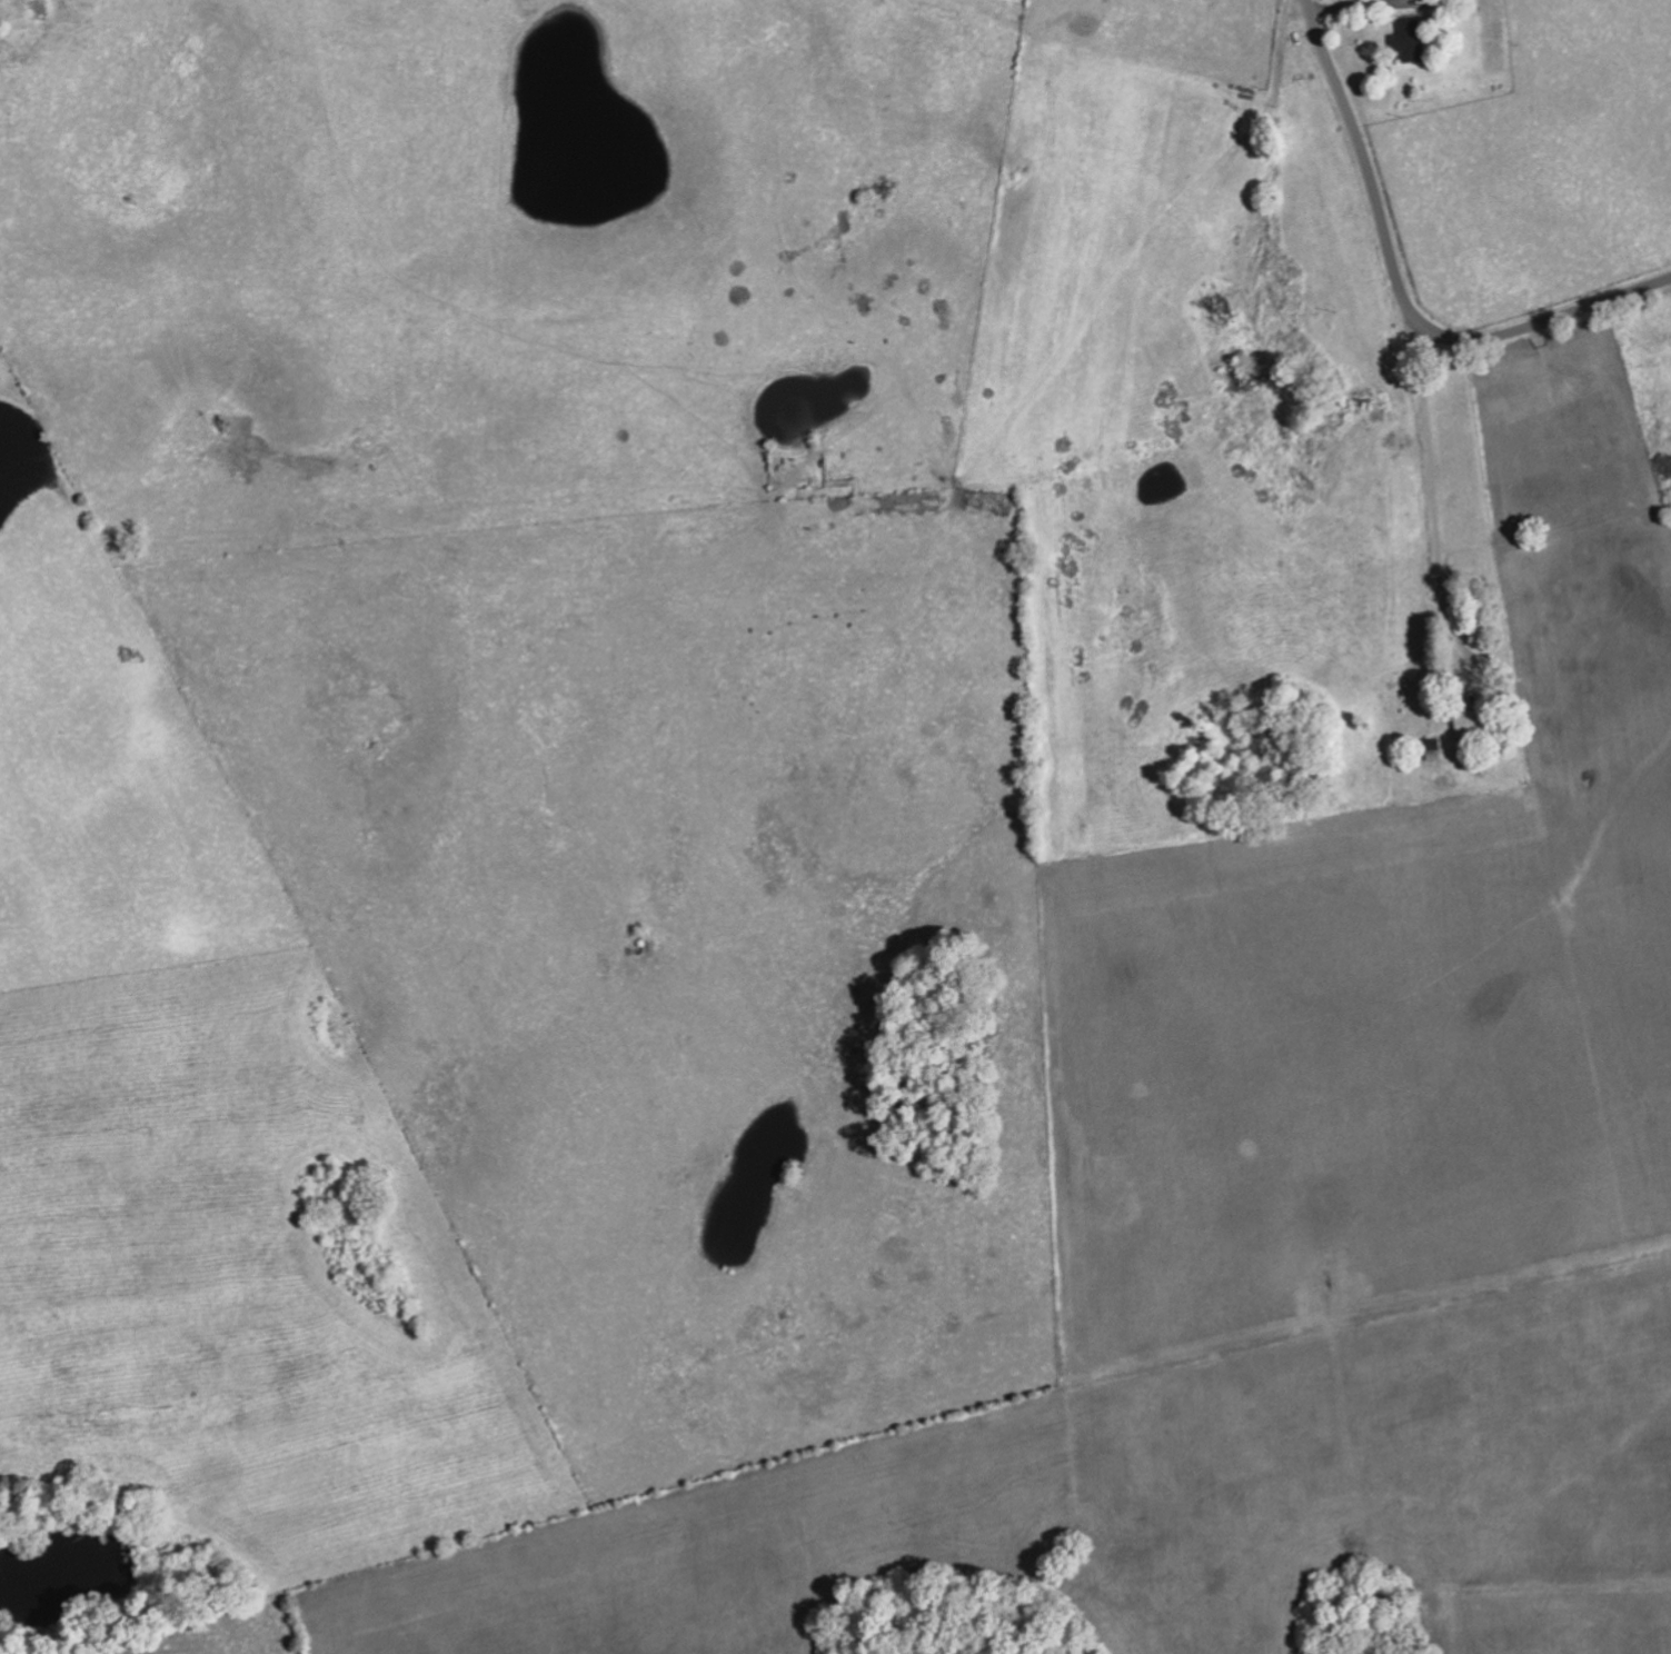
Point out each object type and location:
building: (1409, 39)
road: (1400, 287)
road: (1433, 492)
building: (1470, 721)

